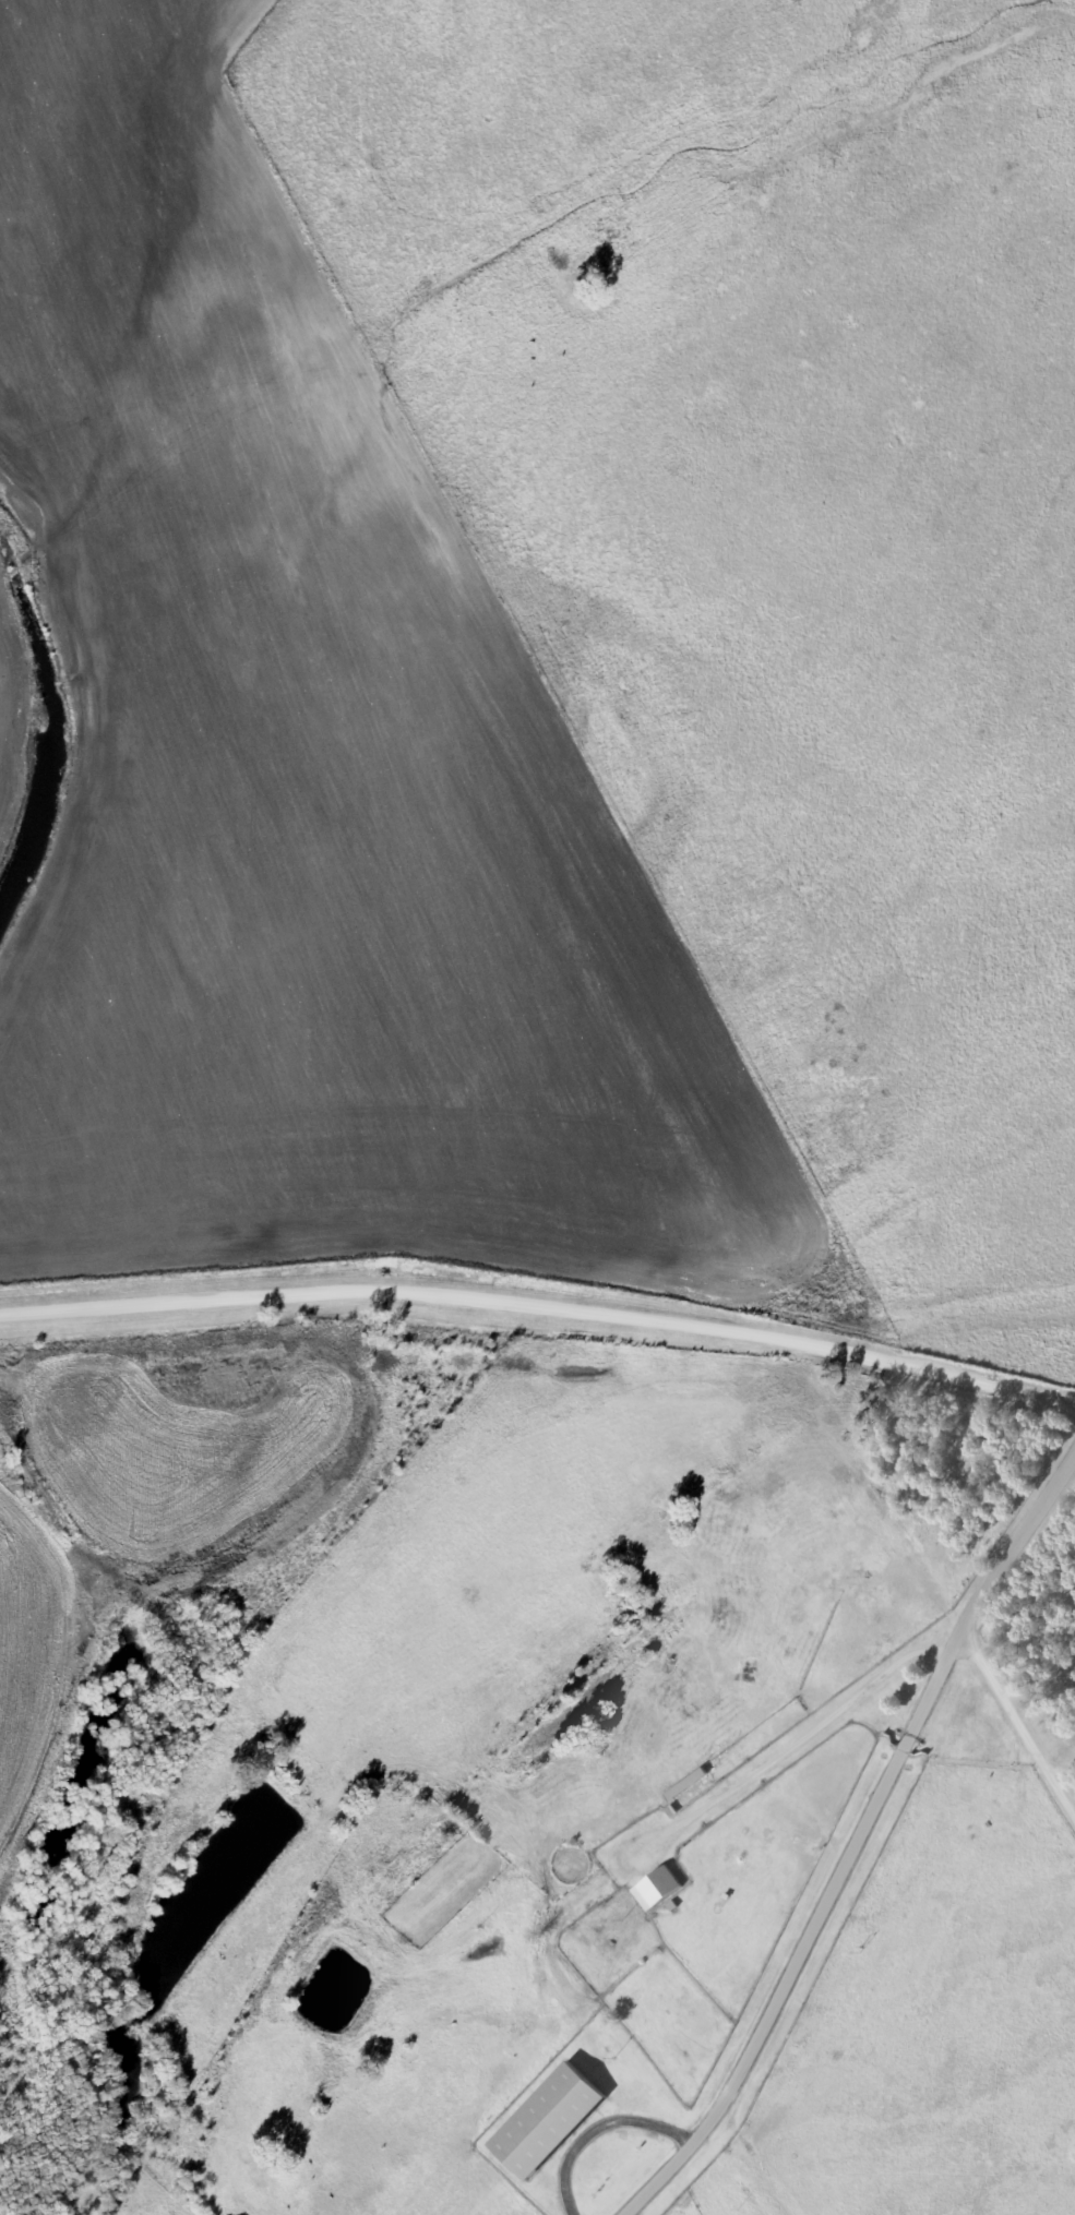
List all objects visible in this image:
road: (540, 1309)
road: (1015, 1720)
road: (1062, 1759)
building: (685, 1786)
road: (858, 1834)
building: (659, 1888)
building: (547, 2123)

